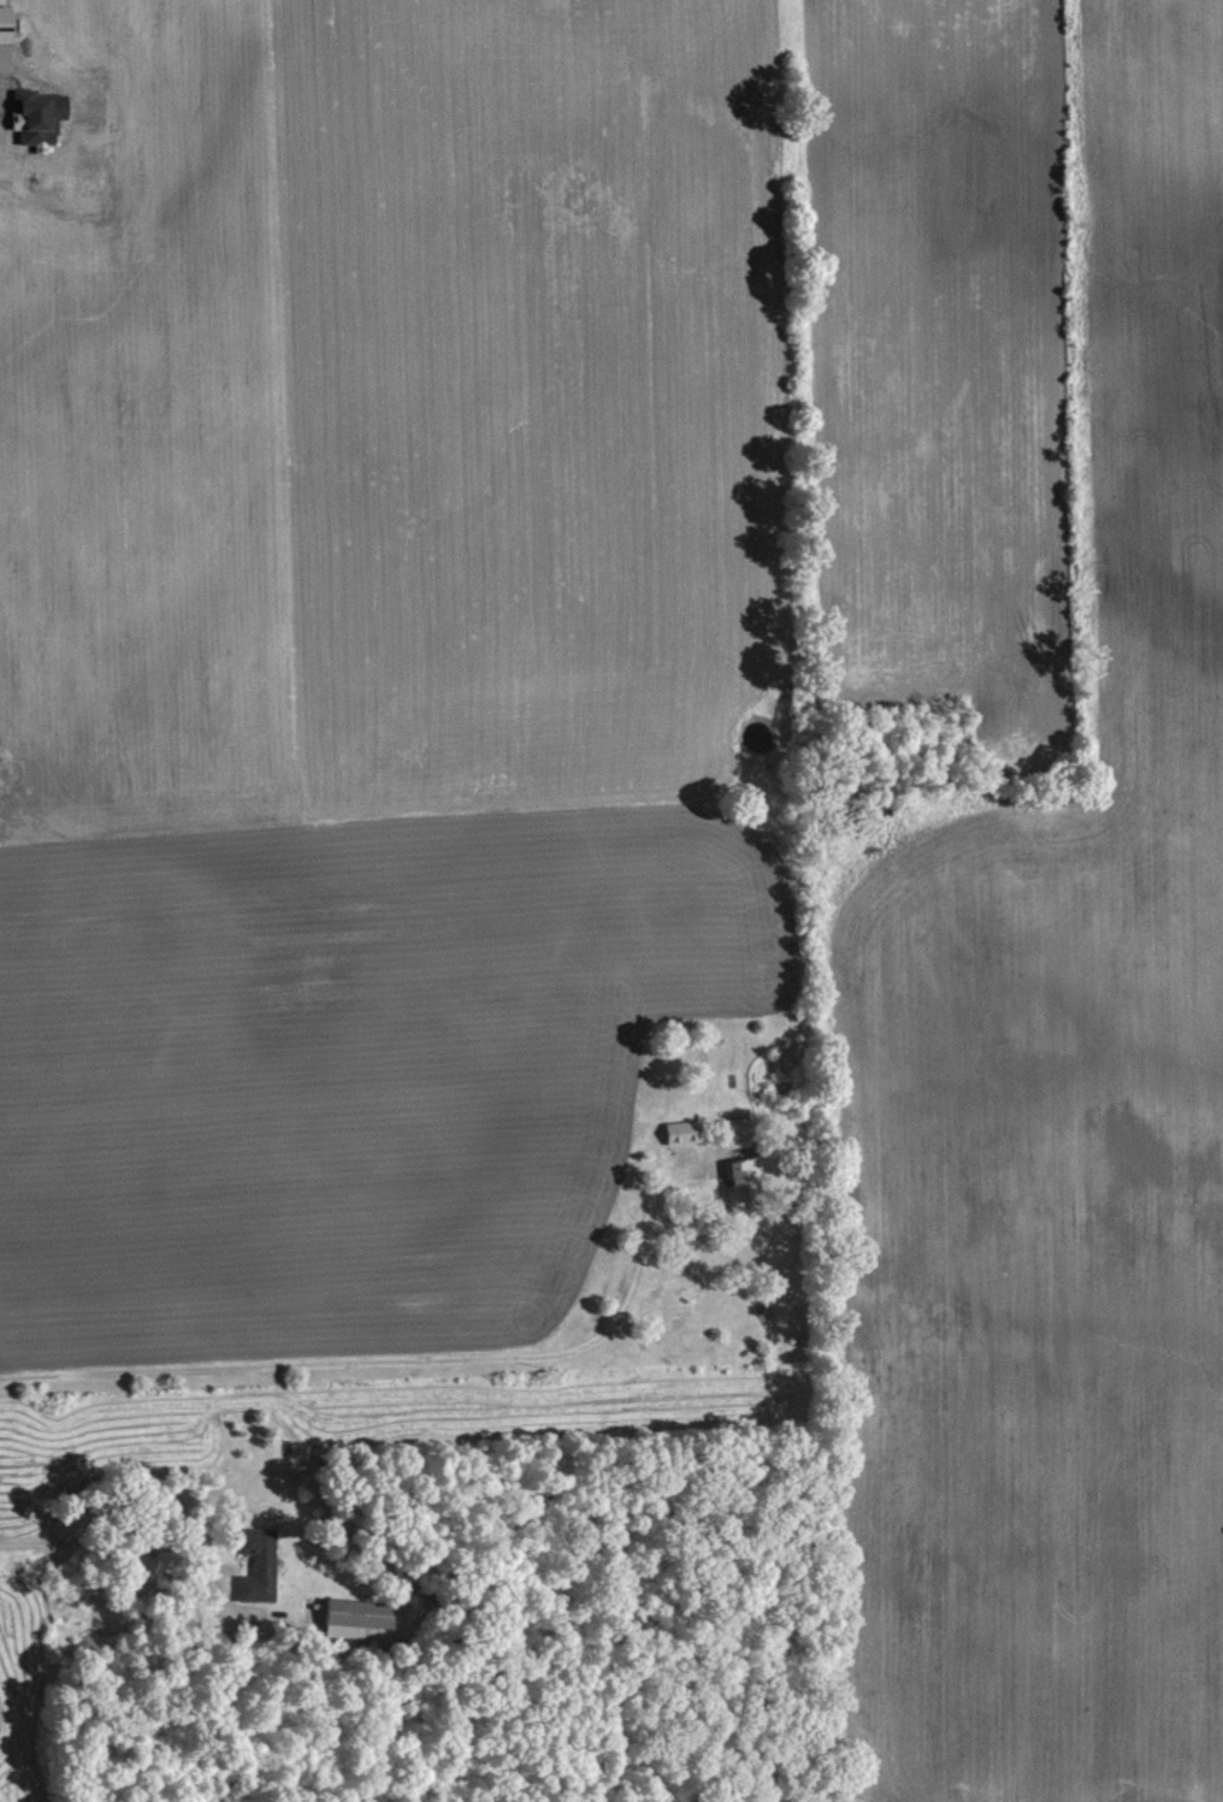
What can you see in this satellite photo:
building: (36, 114)
building: (681, 1129)
building: (735, 1129)
building: (743, 1176)
road: (409, 1358)
road: (116, 1540)
building: (256, 1561)
building: (345, 1612)

